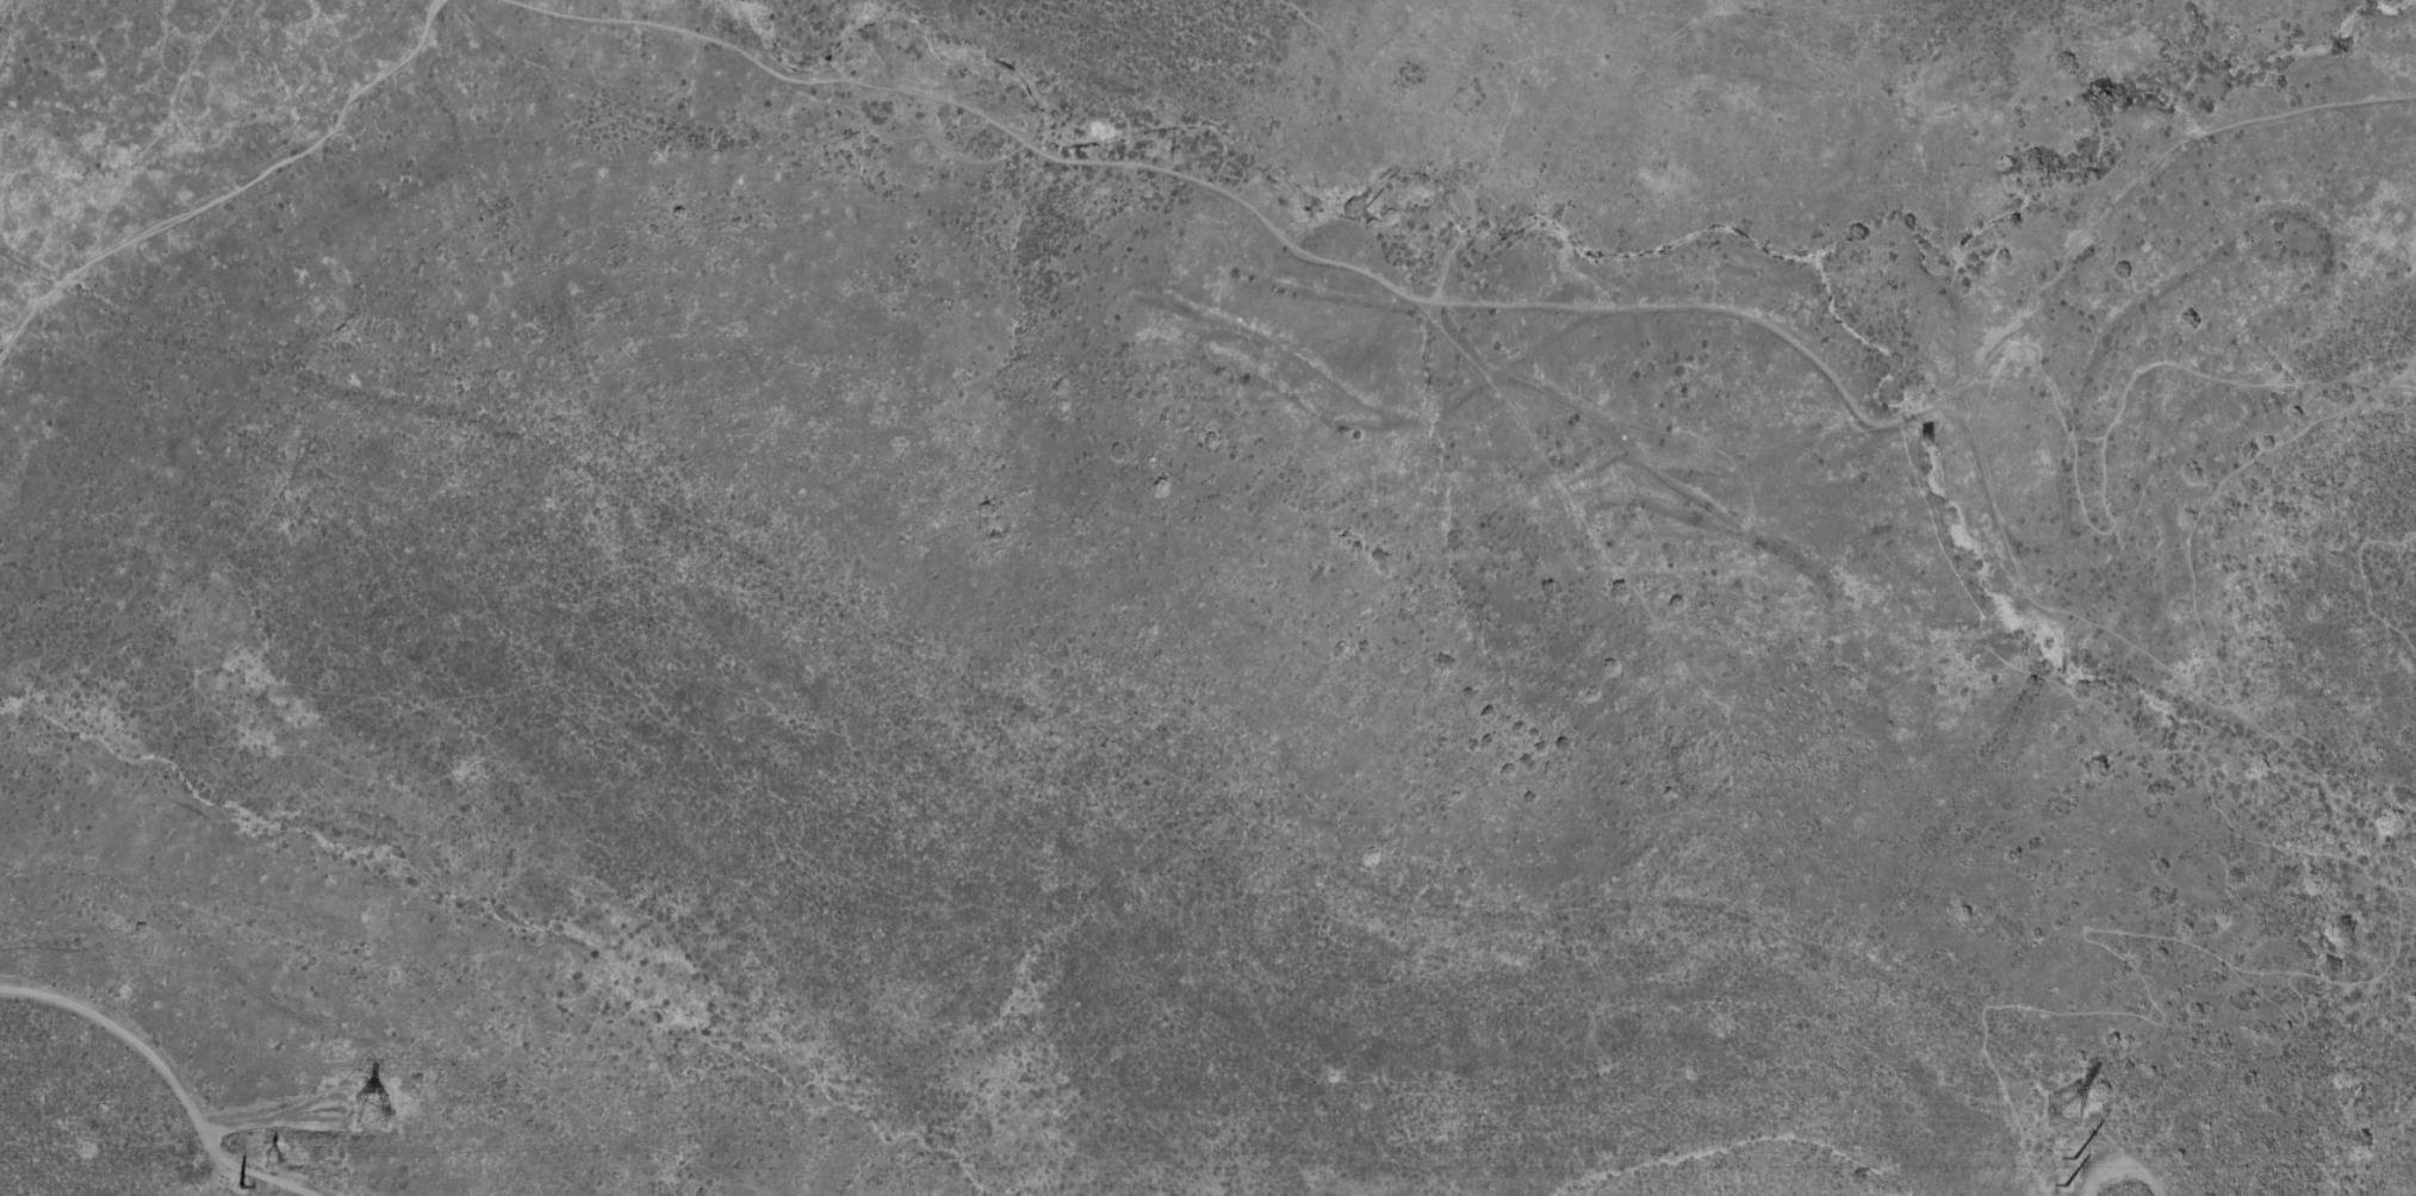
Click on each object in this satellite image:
road: (0, 0)
road: (231, 191)
road: (1513, 305)
road: (2397, 374)
road: (2113, 415)
road: (2193, 522)
road: (2361, 580)
road: (2104, 714)
road: (2250, 720)
road: (2106, 947)
road: (168, 1073)
power tower: (369, 1119)
power tower: (2070, 1121)
road: (2123, 1159)
power tower: (274, 1164)
power tower: (2074, 1166)

